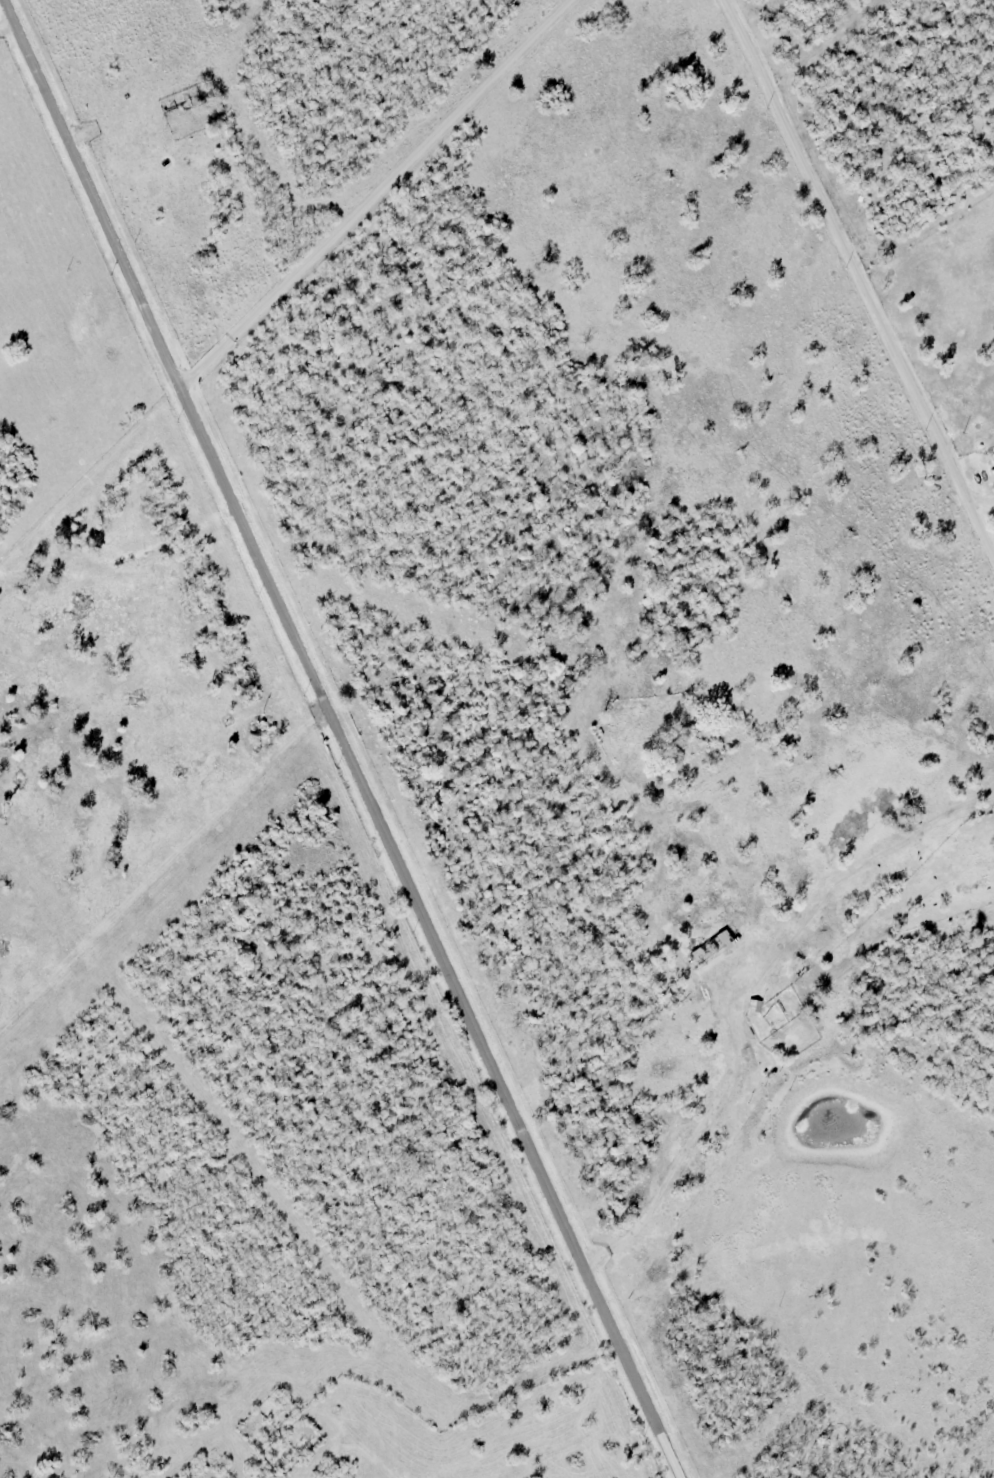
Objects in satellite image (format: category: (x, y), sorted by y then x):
road: (346, 739)
building: (993, 890)
building: (710, 950)
building: (686, 968)
building: (755, 1004)
building: (764, 1073)
building: (773, 1075)

